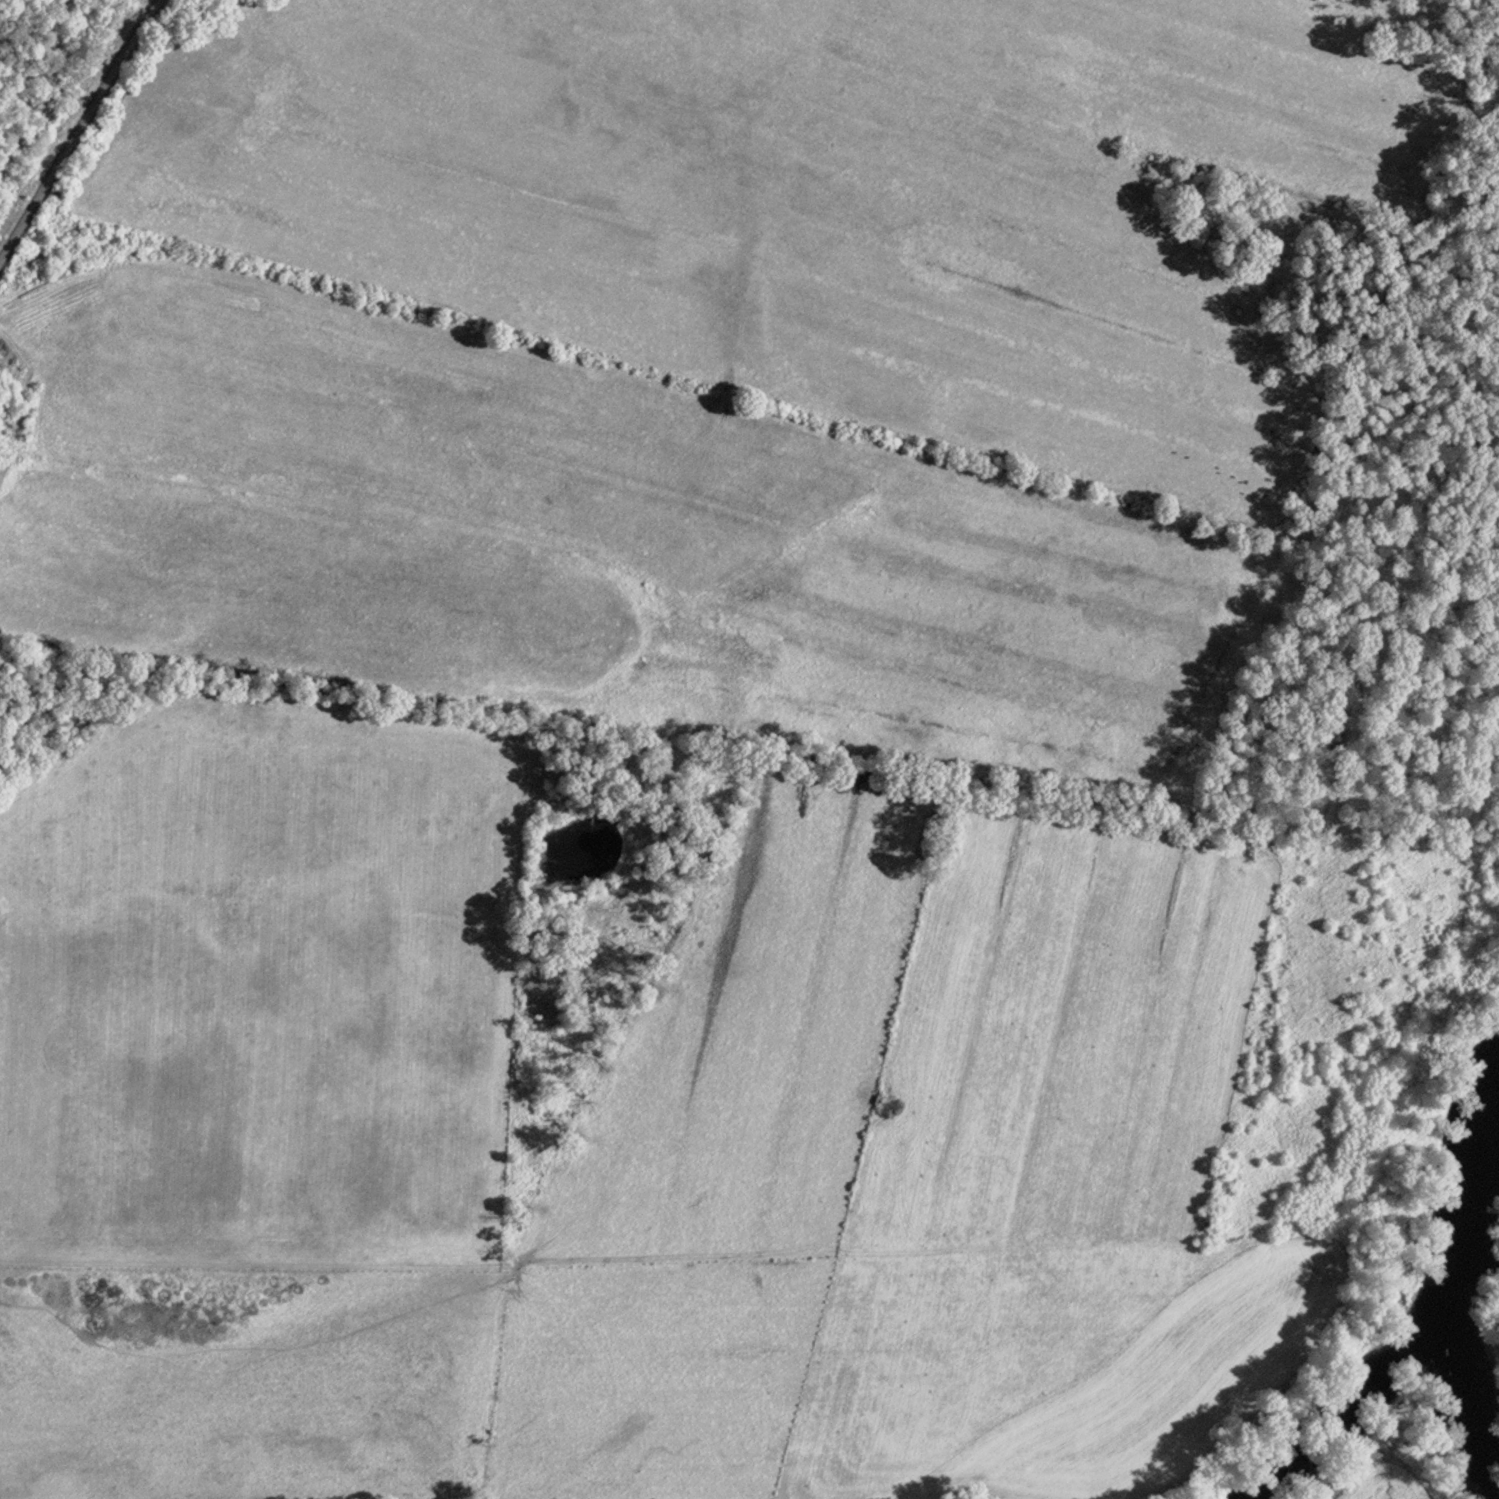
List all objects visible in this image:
road: (85, 138)
river: (1447, 1305)
river: (1338, 1411)

